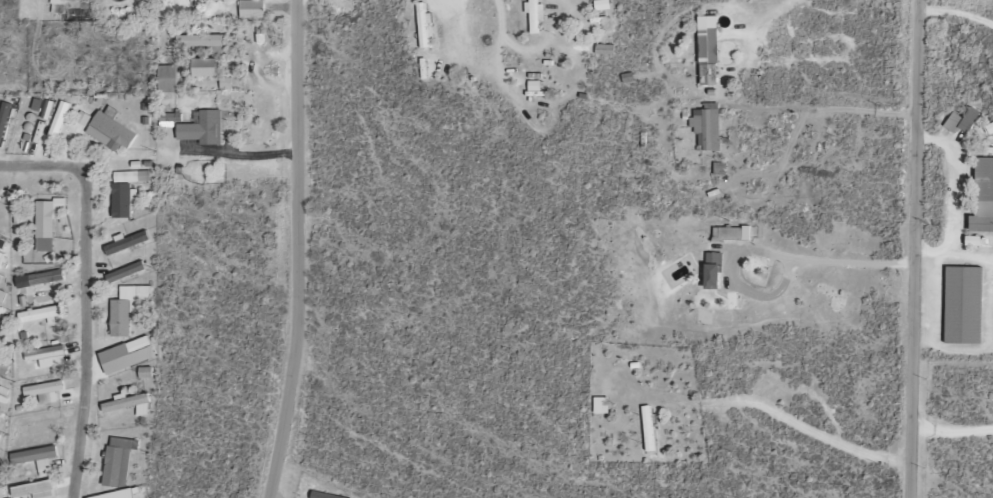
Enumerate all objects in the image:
building: (212, 1)
building: (252, 9)
building: (533, 17)
building: (423, 25)
building: (200, 42)
building: (706, 50)
building: (205, 68)
building: (168, 78)
building: (962, 121)
building: (58, 123)
building: (2, 125)
building: (705, 127)
building: (202, 129)
building: (110, 132)
road: (40, 166)
building: (982, 197)
building: (121, 201)
building: (46, 223)
building: (729, 234)
building: (127, 243)
road: (914, 249)
road: (297, 250)
road: (953, 258)
building: (126, 272)
building: (711, 272)
building: (47, 277)
building: (2, 296)
building: (962, 306)
building: (127, 308)
building: (40, 315)
road: (85, 334)
road: (951, 349)
building: (130, 354)
building: (48, 357)
building: (1, 365)
building: (45, 386)
building: (128, 405)
building: (600, 406)
building: (39, 423)
building: (648, 429)
road: (951, 430)
building: (37, 459)
building: (119, 462)
building: (35, 490)
building: (118, 494)

